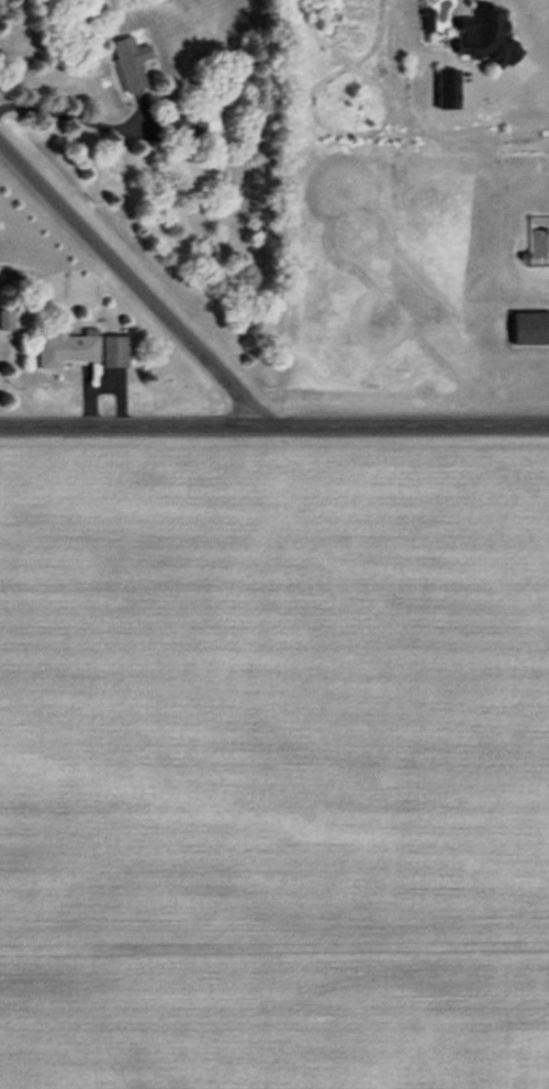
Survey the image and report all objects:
building: (128, 63)
road: (534, 85)
building: (193, 123)
road: (135, 284)
building: (4, 320)
building: (529, 329)
building: (79, 349)
road: (273, 424)

